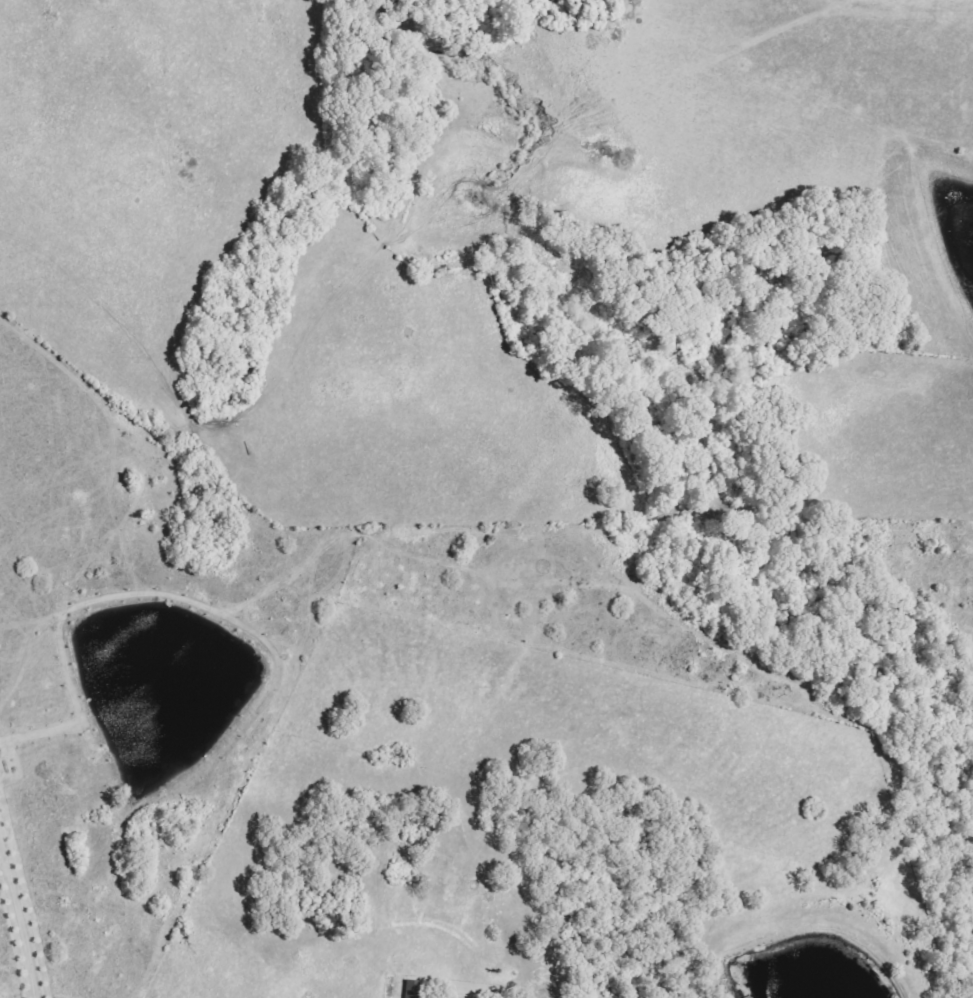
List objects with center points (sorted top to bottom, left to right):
building: (414, 989)

